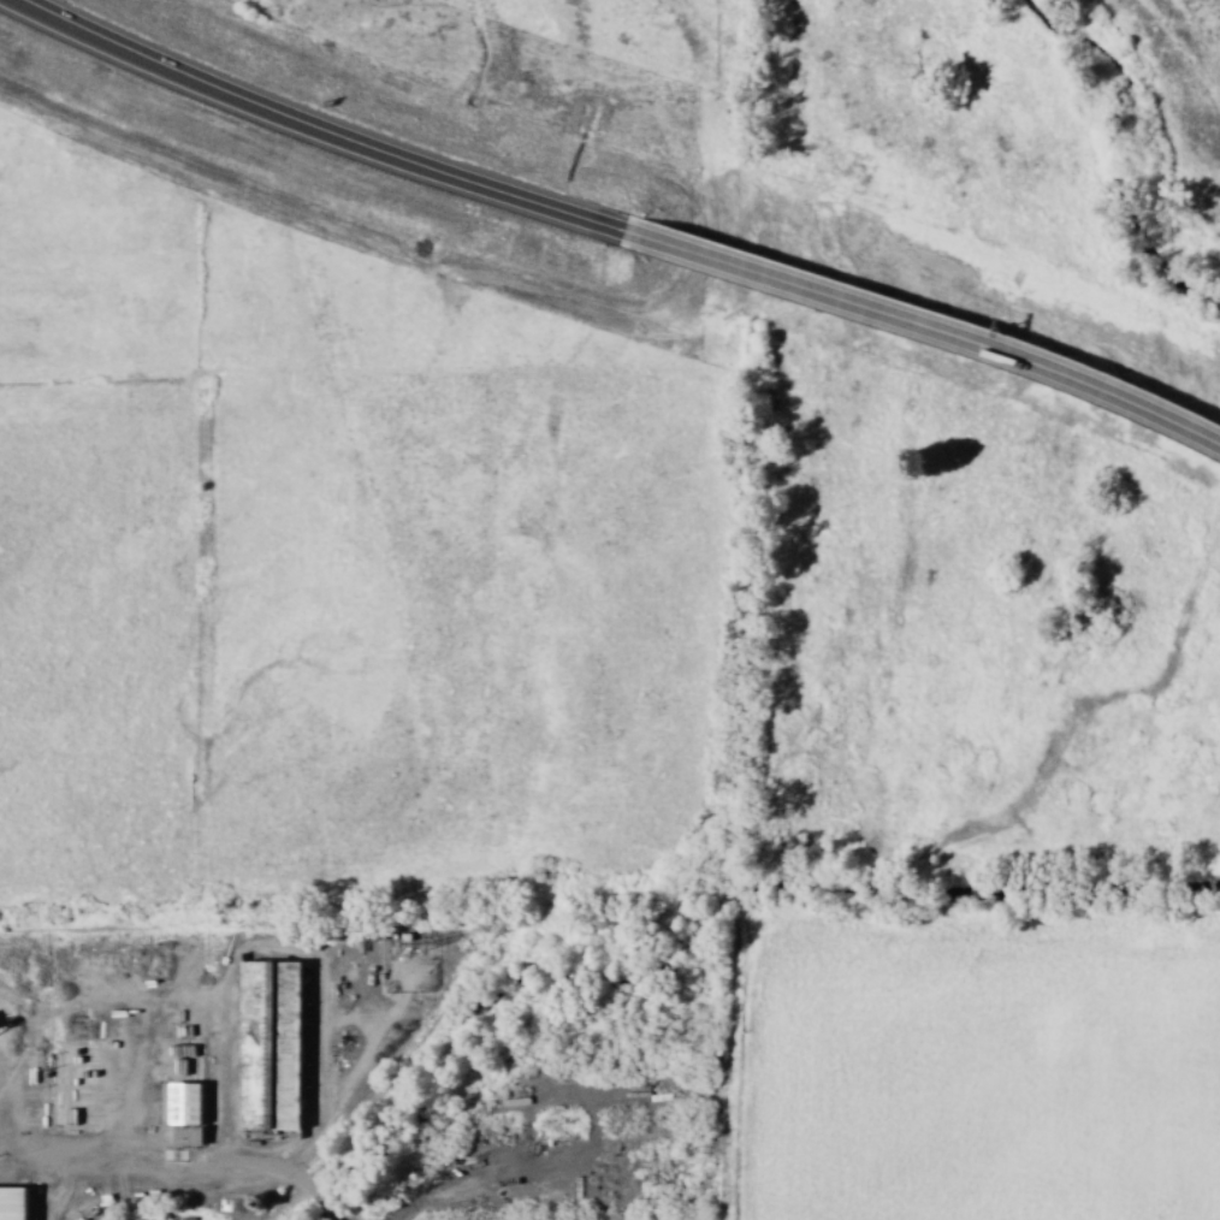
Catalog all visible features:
road: (316, 128)
road: (924, 327)
building: (271, 1044)
building: (183, 1112)
road: (201, 1157)
building: (16, 1204)

